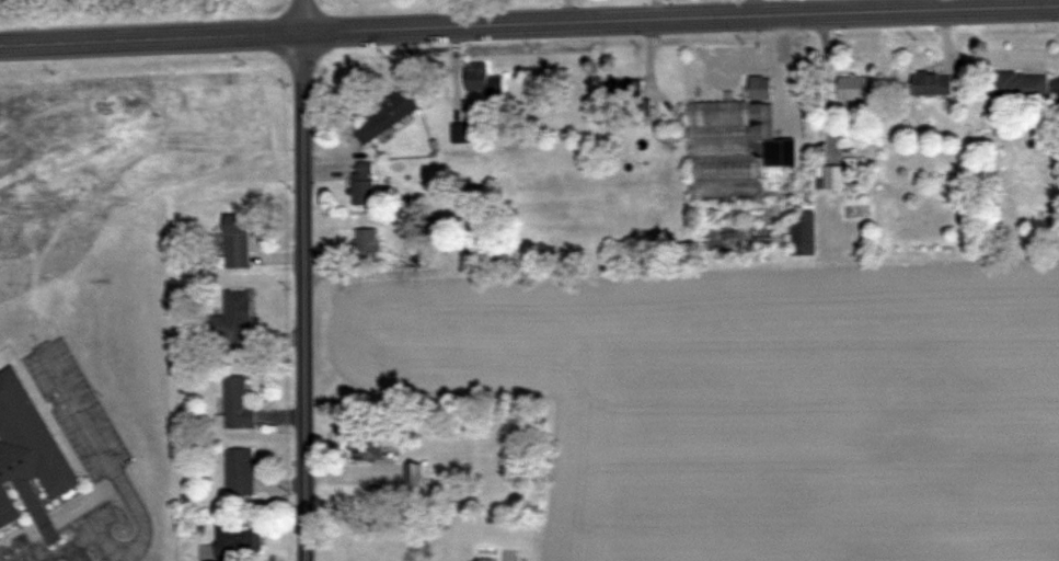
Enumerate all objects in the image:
road: (297, 16)
road: (529, 28)
building: (480, 80)
road: (784, 81)
building: (931, 83)
building: (1020, 85)
building: (851, 88)
building: (623, 90)
building: (383, 116)
building: (460, 133)
building: (734, 145)
building: (361, 183)
building: (762, 236)
building: (234, 241)
building: (365, 245)
road: (299, 297)
building: (231, 319)
building: (235, 403)
building: (366, 450)
building: (28, 458)
building: (238, 471)
building: (413, 478)
road: (418, 535)
building: (237, 539)
road: (108, 550)
building: (209, 560)

